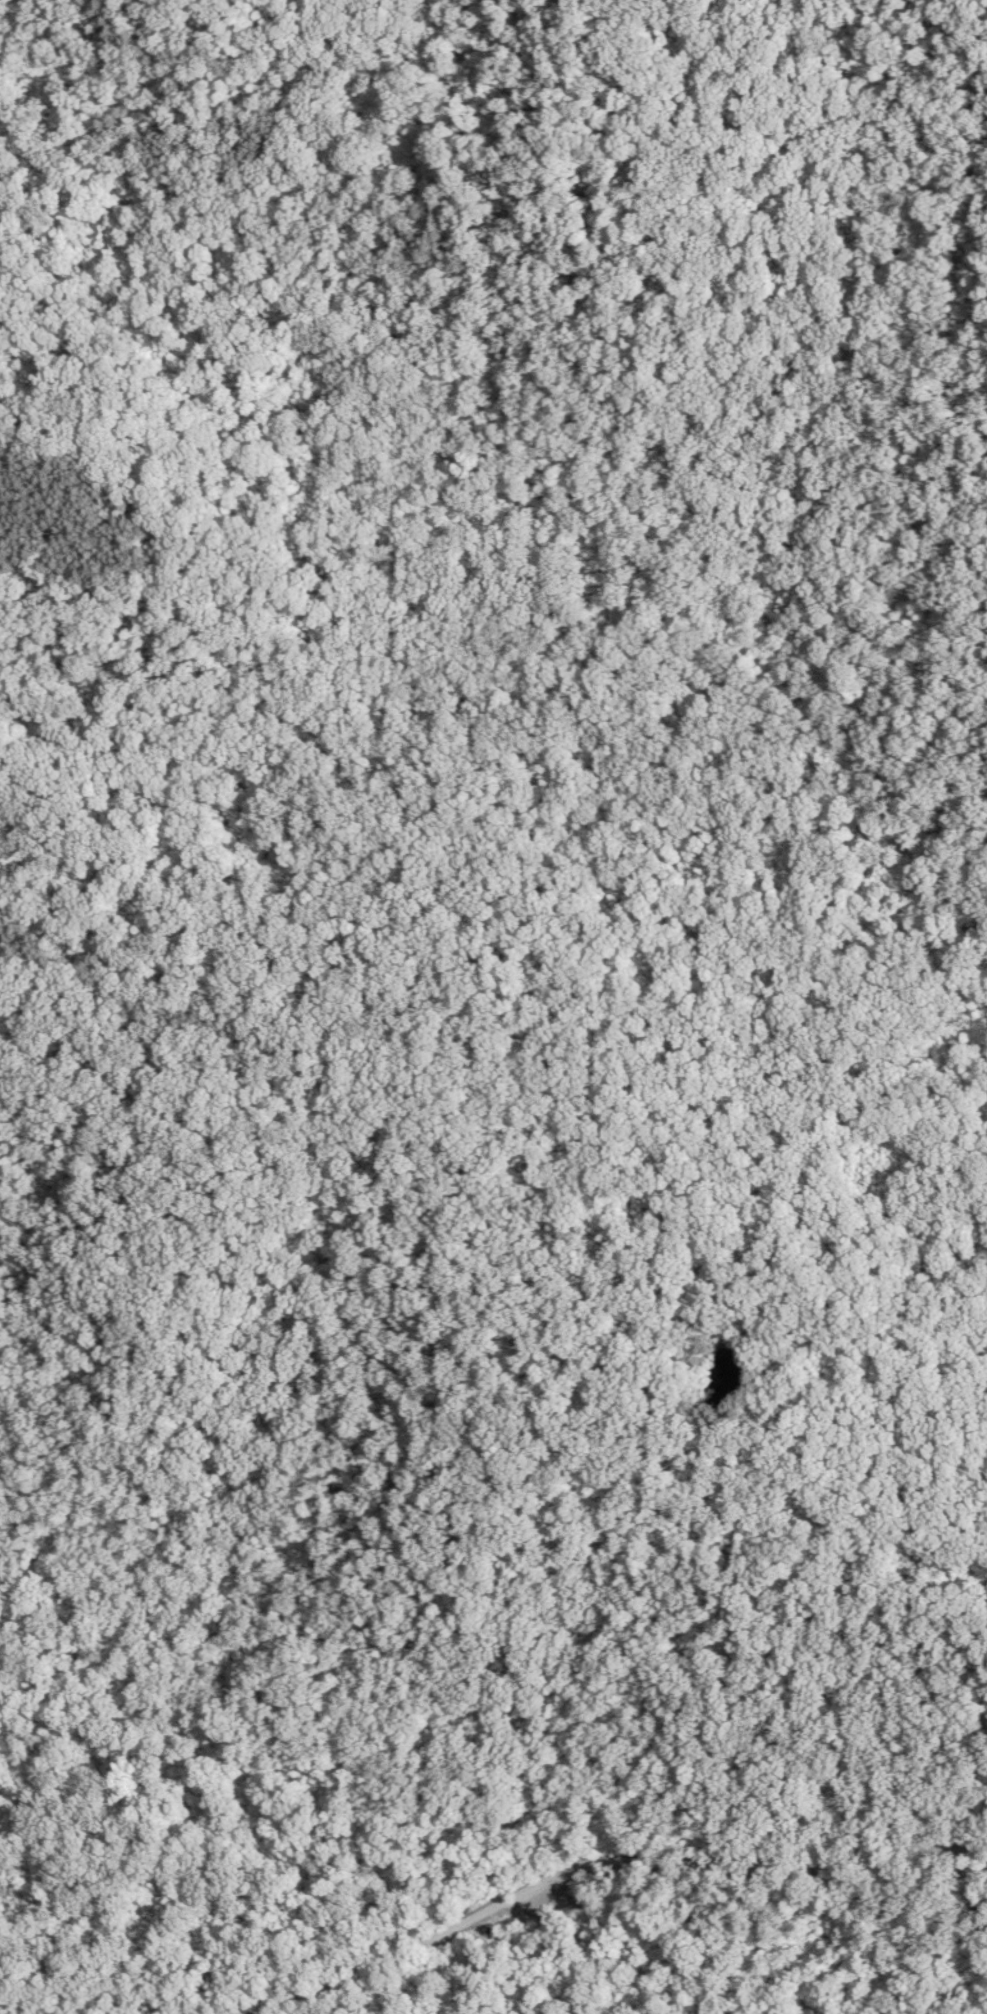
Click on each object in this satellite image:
road: (594, 1864)

